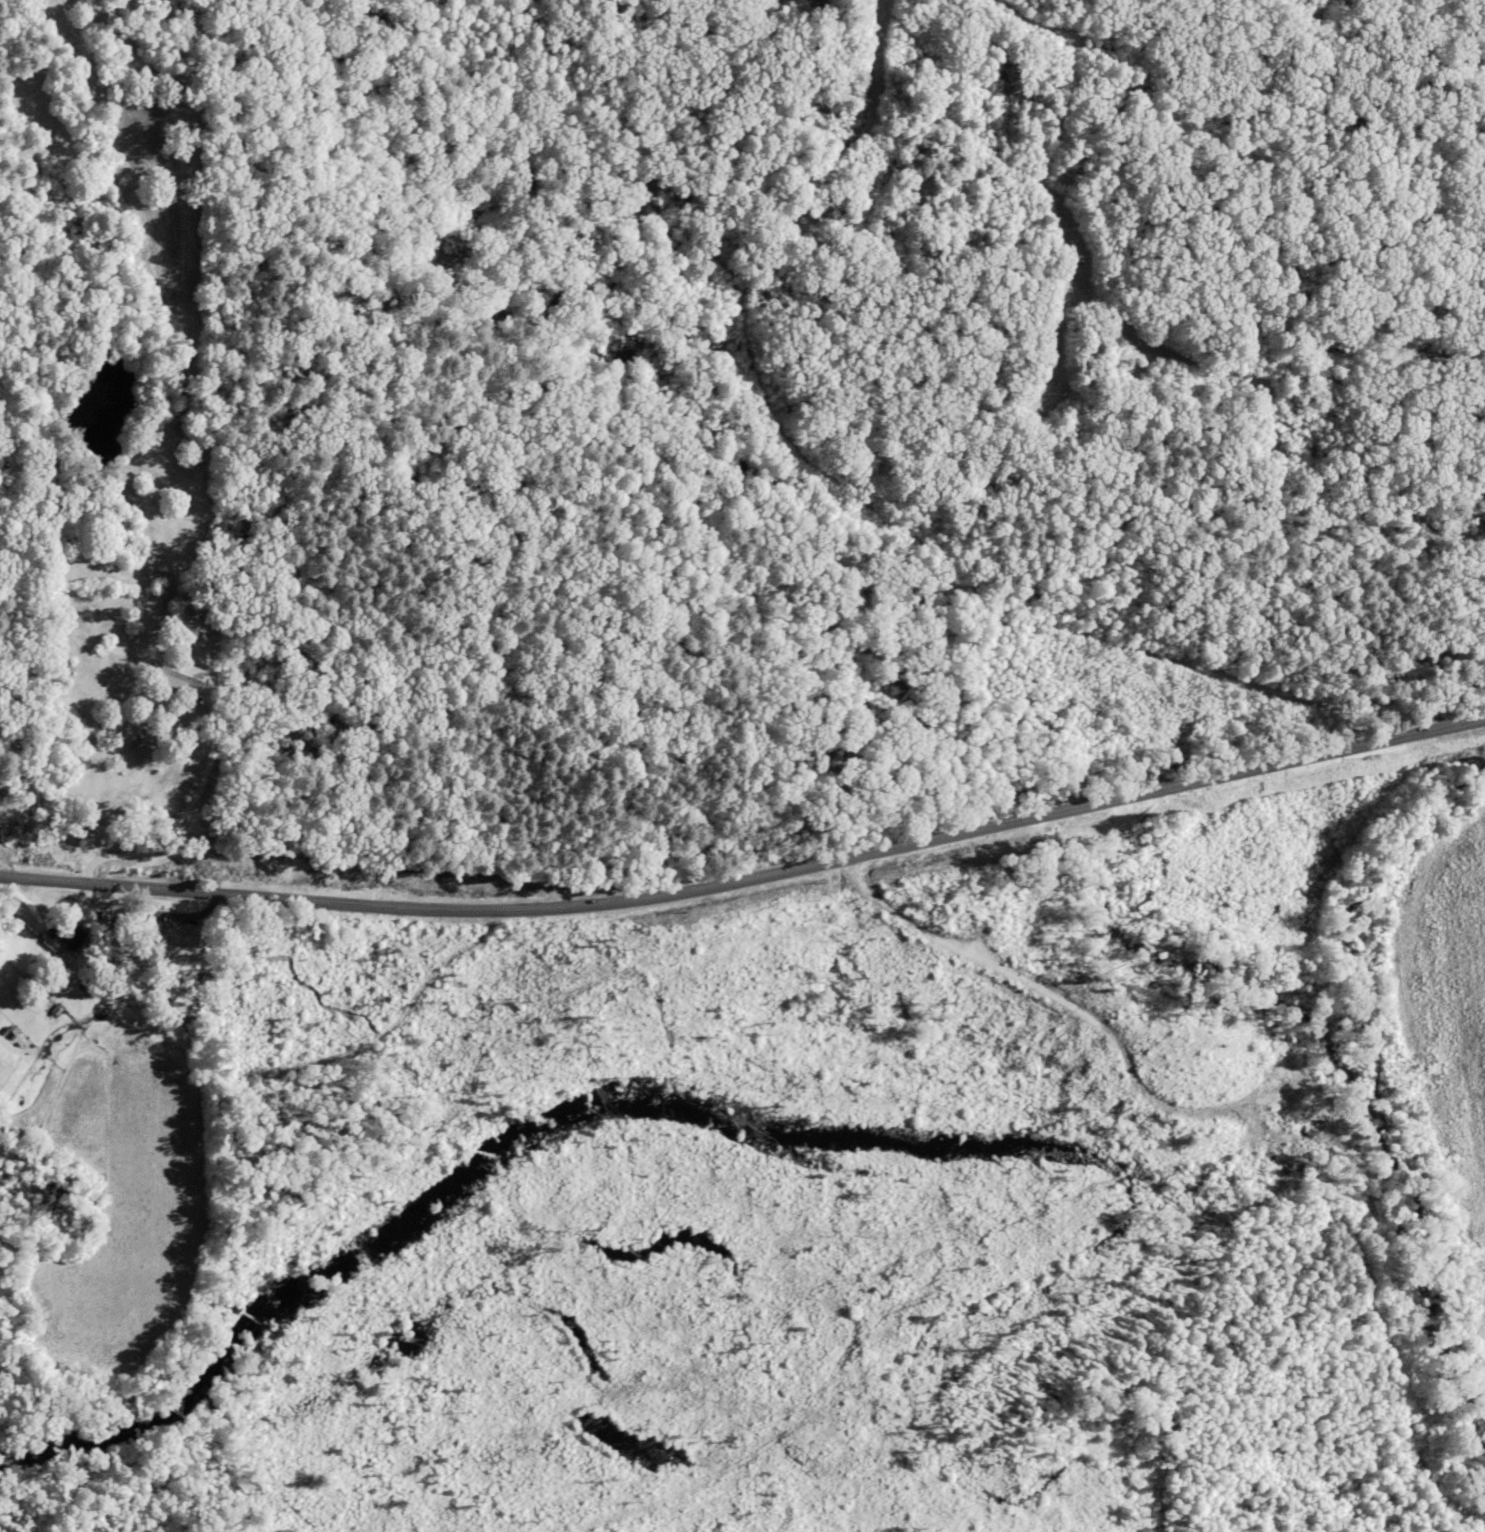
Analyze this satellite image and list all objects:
building: (184, 676)
road: (183, 818)
road: (4, 861)
road: (749, 878)
building: (186, 932)
building: (66, 933)

